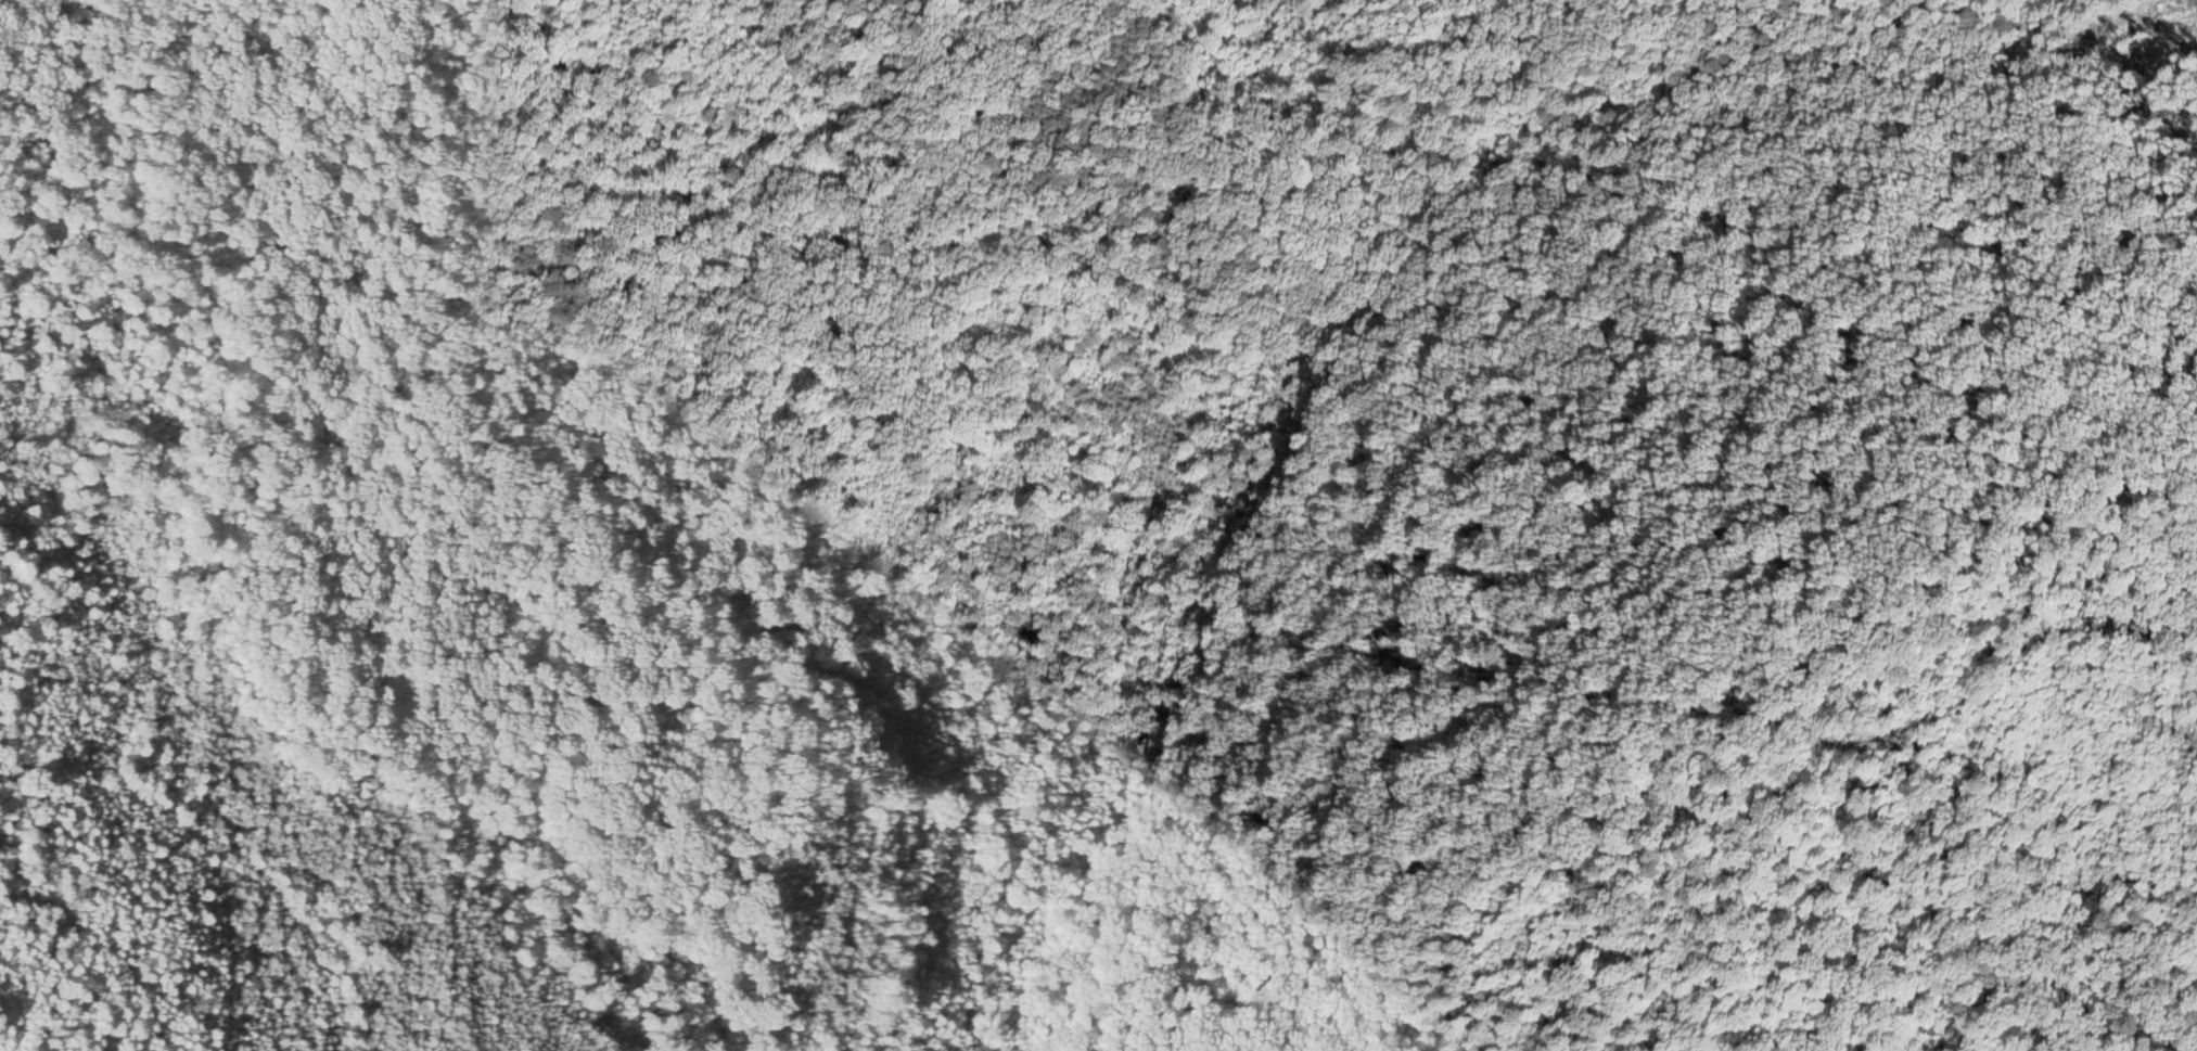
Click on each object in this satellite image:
road: (1095, 922)

